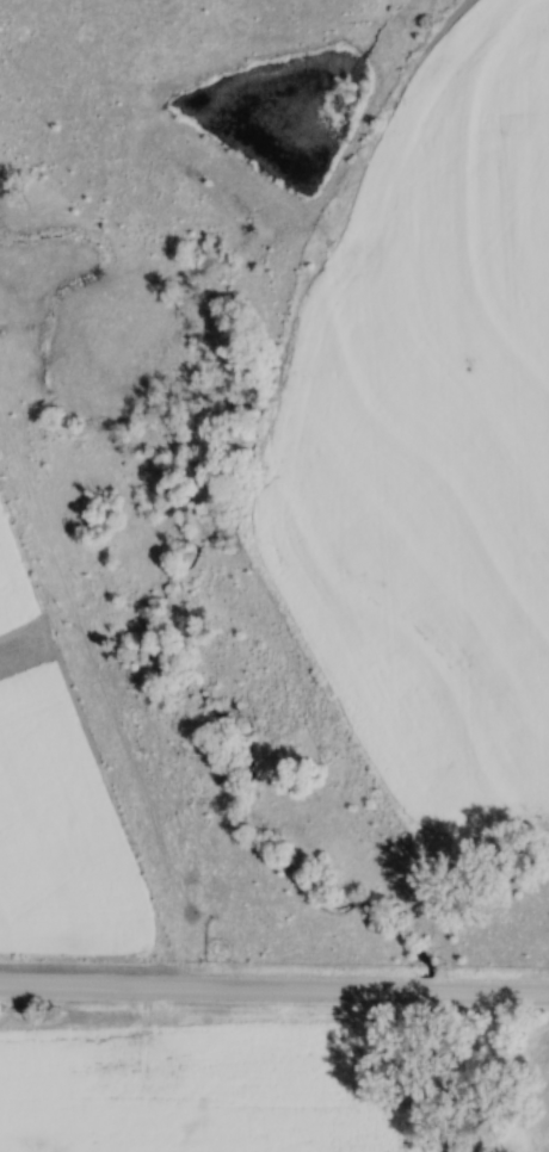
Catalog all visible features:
road: (273, 989)

